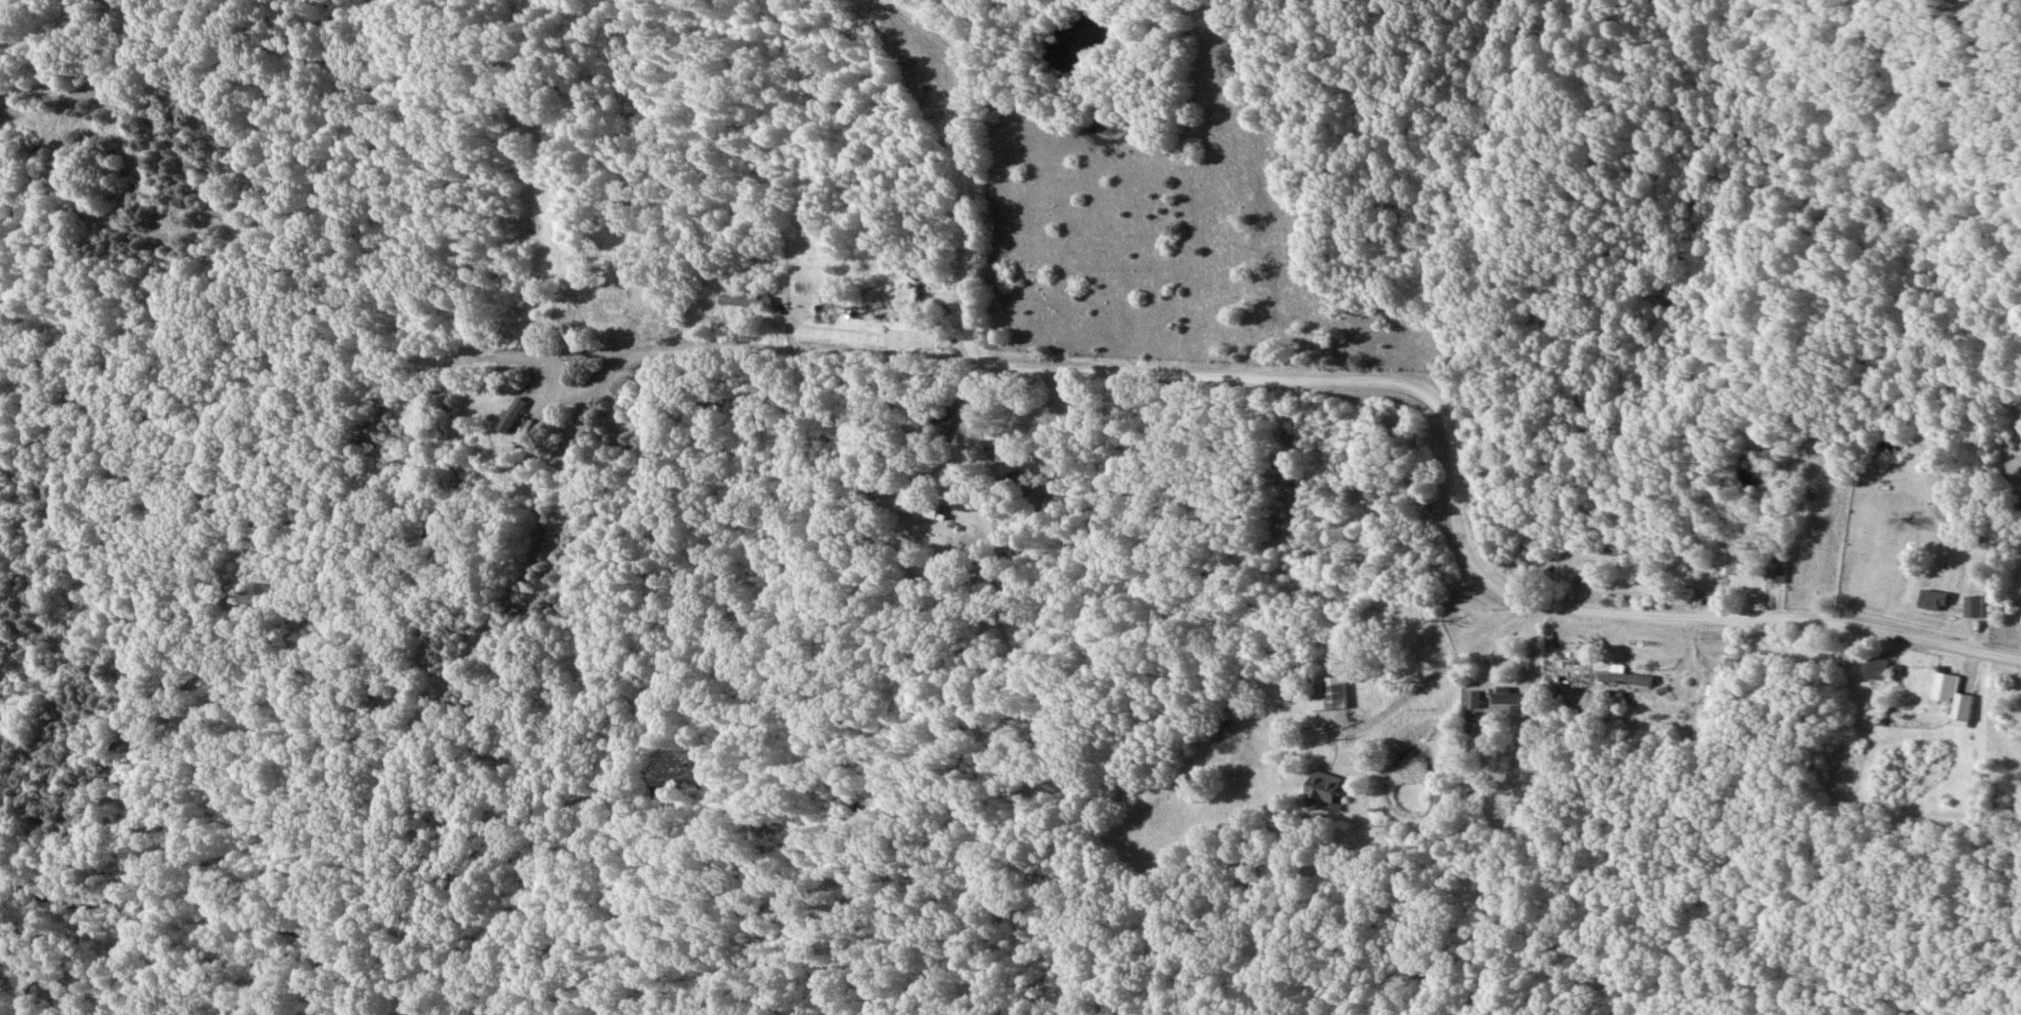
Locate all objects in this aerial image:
building: (909, 295)
building: (748, 302)
building: (616, 311)
building: (890, 314)
building: (824, 315)
road: (758, 346)
road: (1383, 385)
building: (947, 418)
road: (977, 421)
building: (922, 505)
building: (1615, 548)
building: (1728, 565)
building: (1776, 573)
building: (1933, 601)
building: (1974, 607)
building: (1878, 669)
road: (1476, 693)
building: (1329, 694)
building: (1953, 697)
building: (1473, 700)
building: (1510, 700)
building: (1322, 787)

